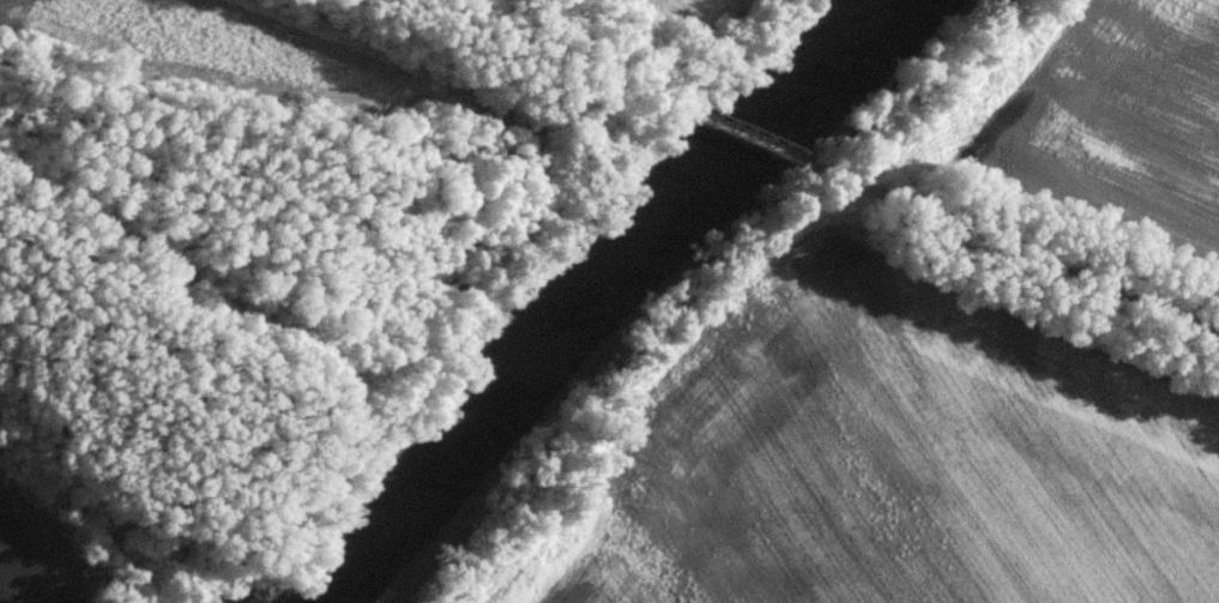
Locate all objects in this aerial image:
road: (554, 58)
crop: (1124, 131)
road: (747, 140)
road: (1010, 251)
river: (609, 293)
crop: (912, 452)

